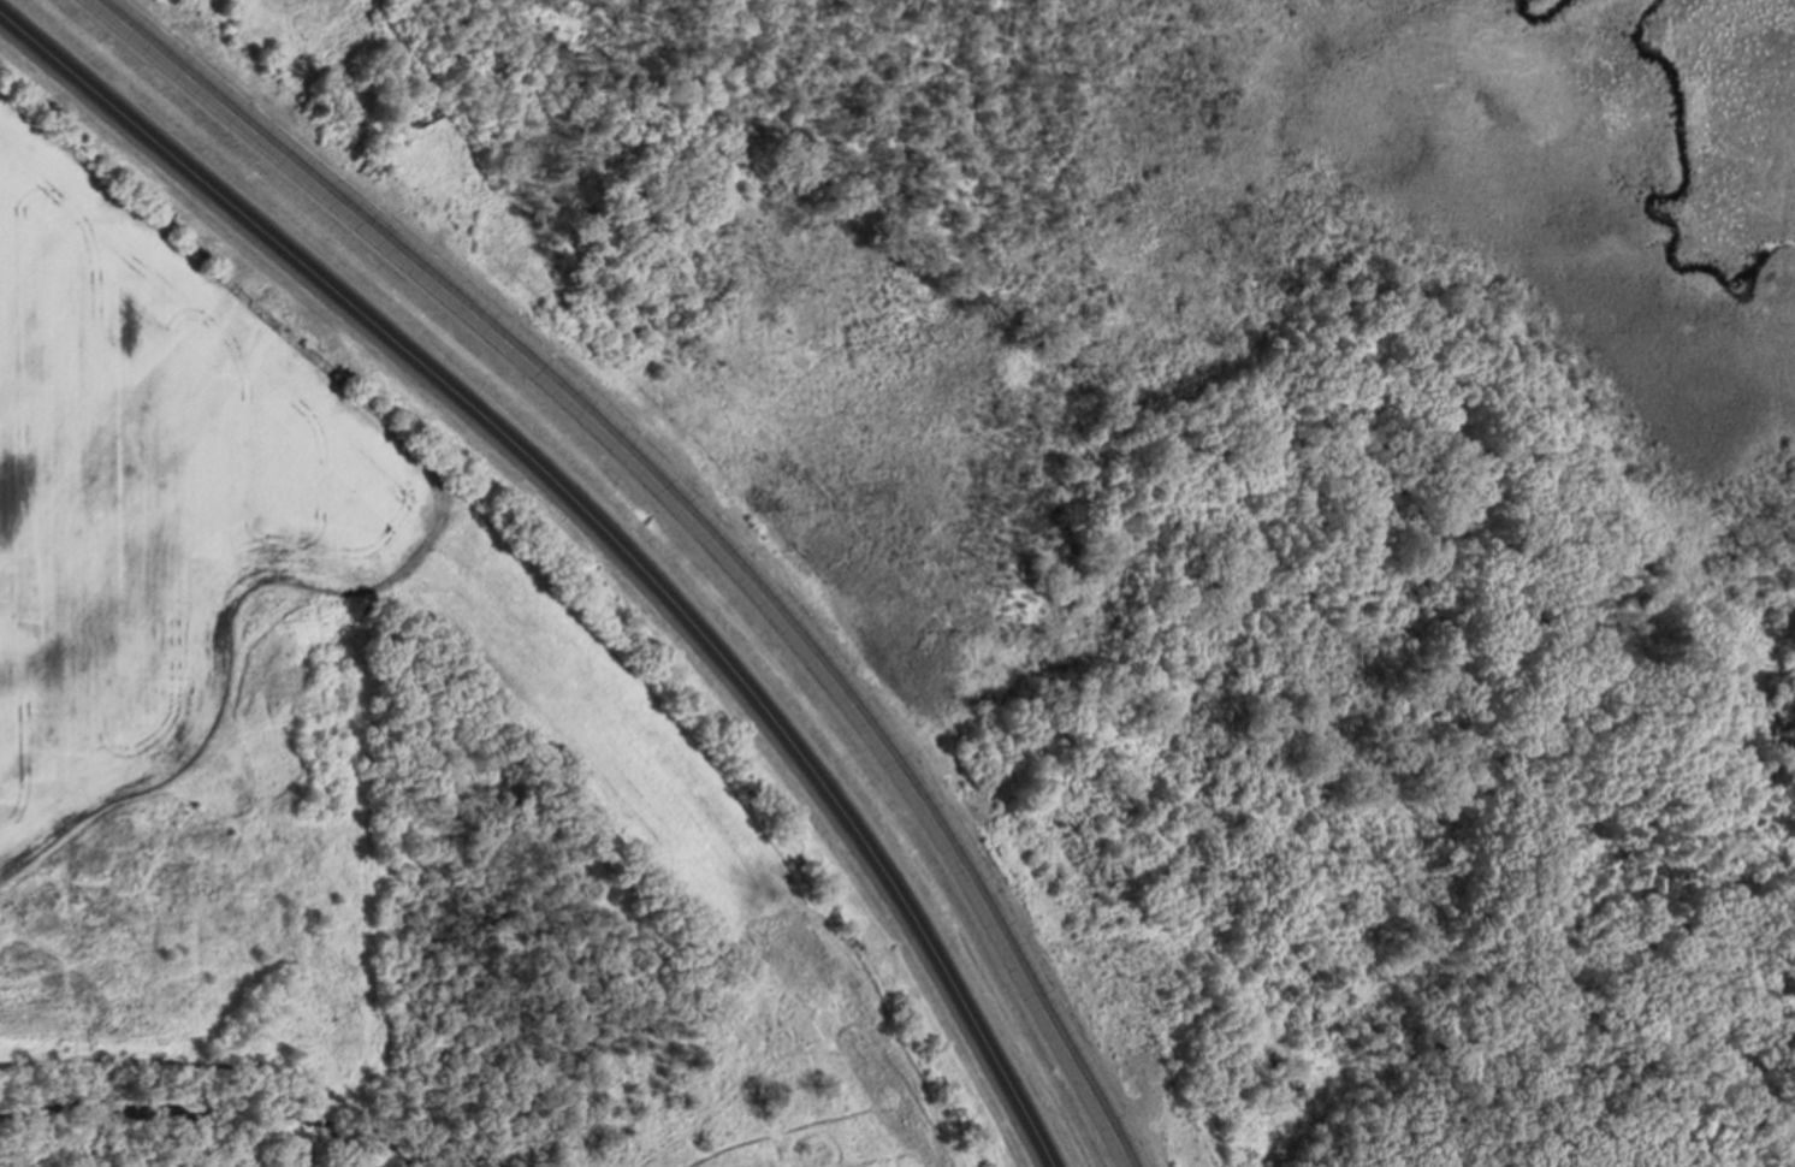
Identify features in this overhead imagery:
road: (691, 515)
road: (596, 528)
road: (1771, 1062)

